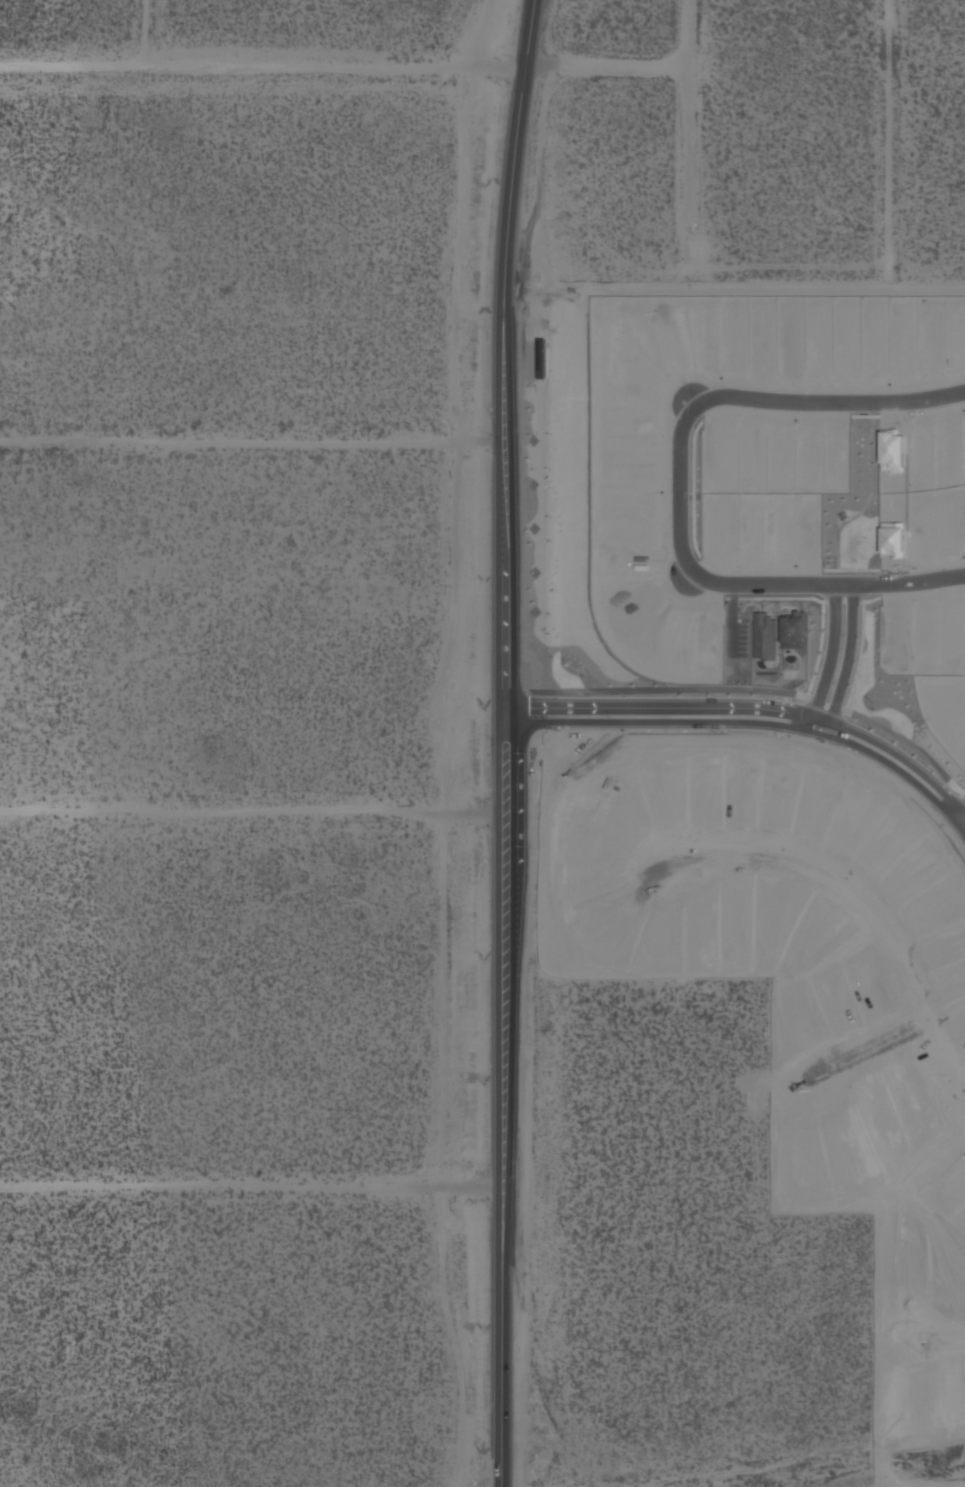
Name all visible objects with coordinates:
road: (688, 28)
road: (268, 71)
road: (899, 145)
road: (739, 290)
road: (828, 406)
road: (877, 420)
road: (256, 441)
building: (964, 444)
building: (890, 450)
road: (679, 492)
road: (693, 494)
road: (867, 503)
park: (853, 510)
building: (841, 518)
building: (892, 542)
road: (849, 574)
road: (826, 588)
road: (800, 603)
road: (731, 623)
building: (793, 632)
building: (925, 634)
parking lot: (737, 639)
building: (764, 639)
road: (819, 653)
road: (859, 660)
road: (830, 663)
road: (846, 665)
road: (667, 693)
road: (826, 706)
road: (754, 712)
road: (756, 727)
road: (510, 742)
road: (909, 746)
road: (962, 796)
road: (962, 800)
road: (255, 813)
road: (958, 818)
building: (852, 828)
building: (913, 881)
road: (865, 906)
building: (933, 914)
building: (958, 1020)
road: (862, 1053)
road: (253, 1186)
road: (943, 1340)

